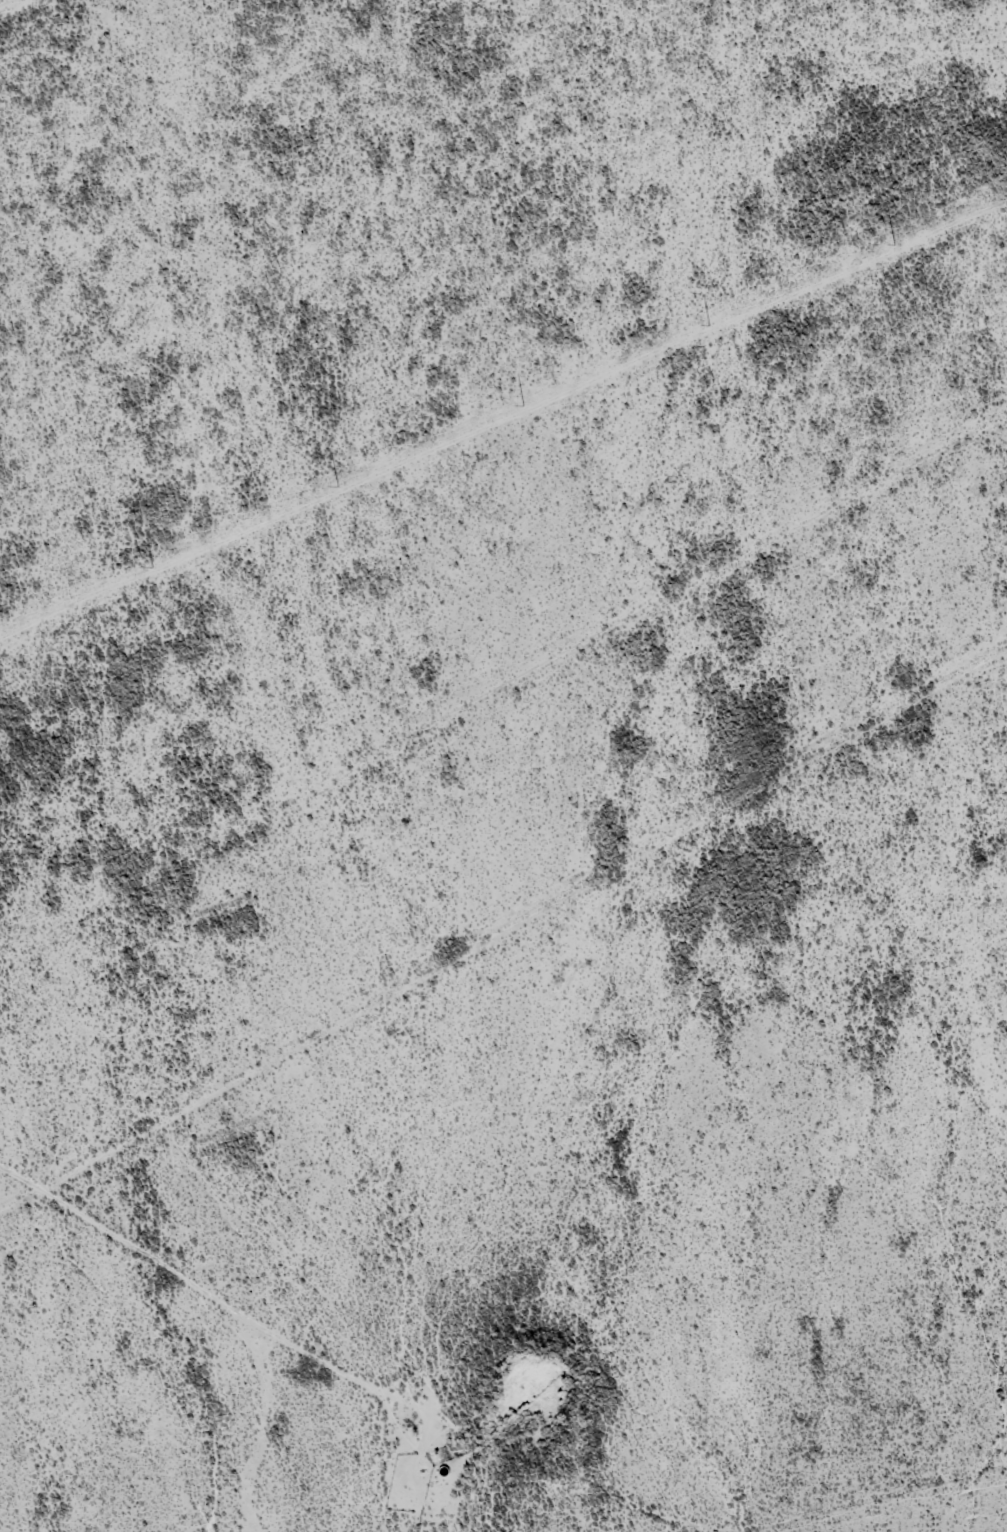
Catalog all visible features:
power tower: (894, 245)
power tower: (706, 327)
power tower: (521, 406)
power tower: (337, 487)
power tower: (151, 567)
road: (189, 1317)

